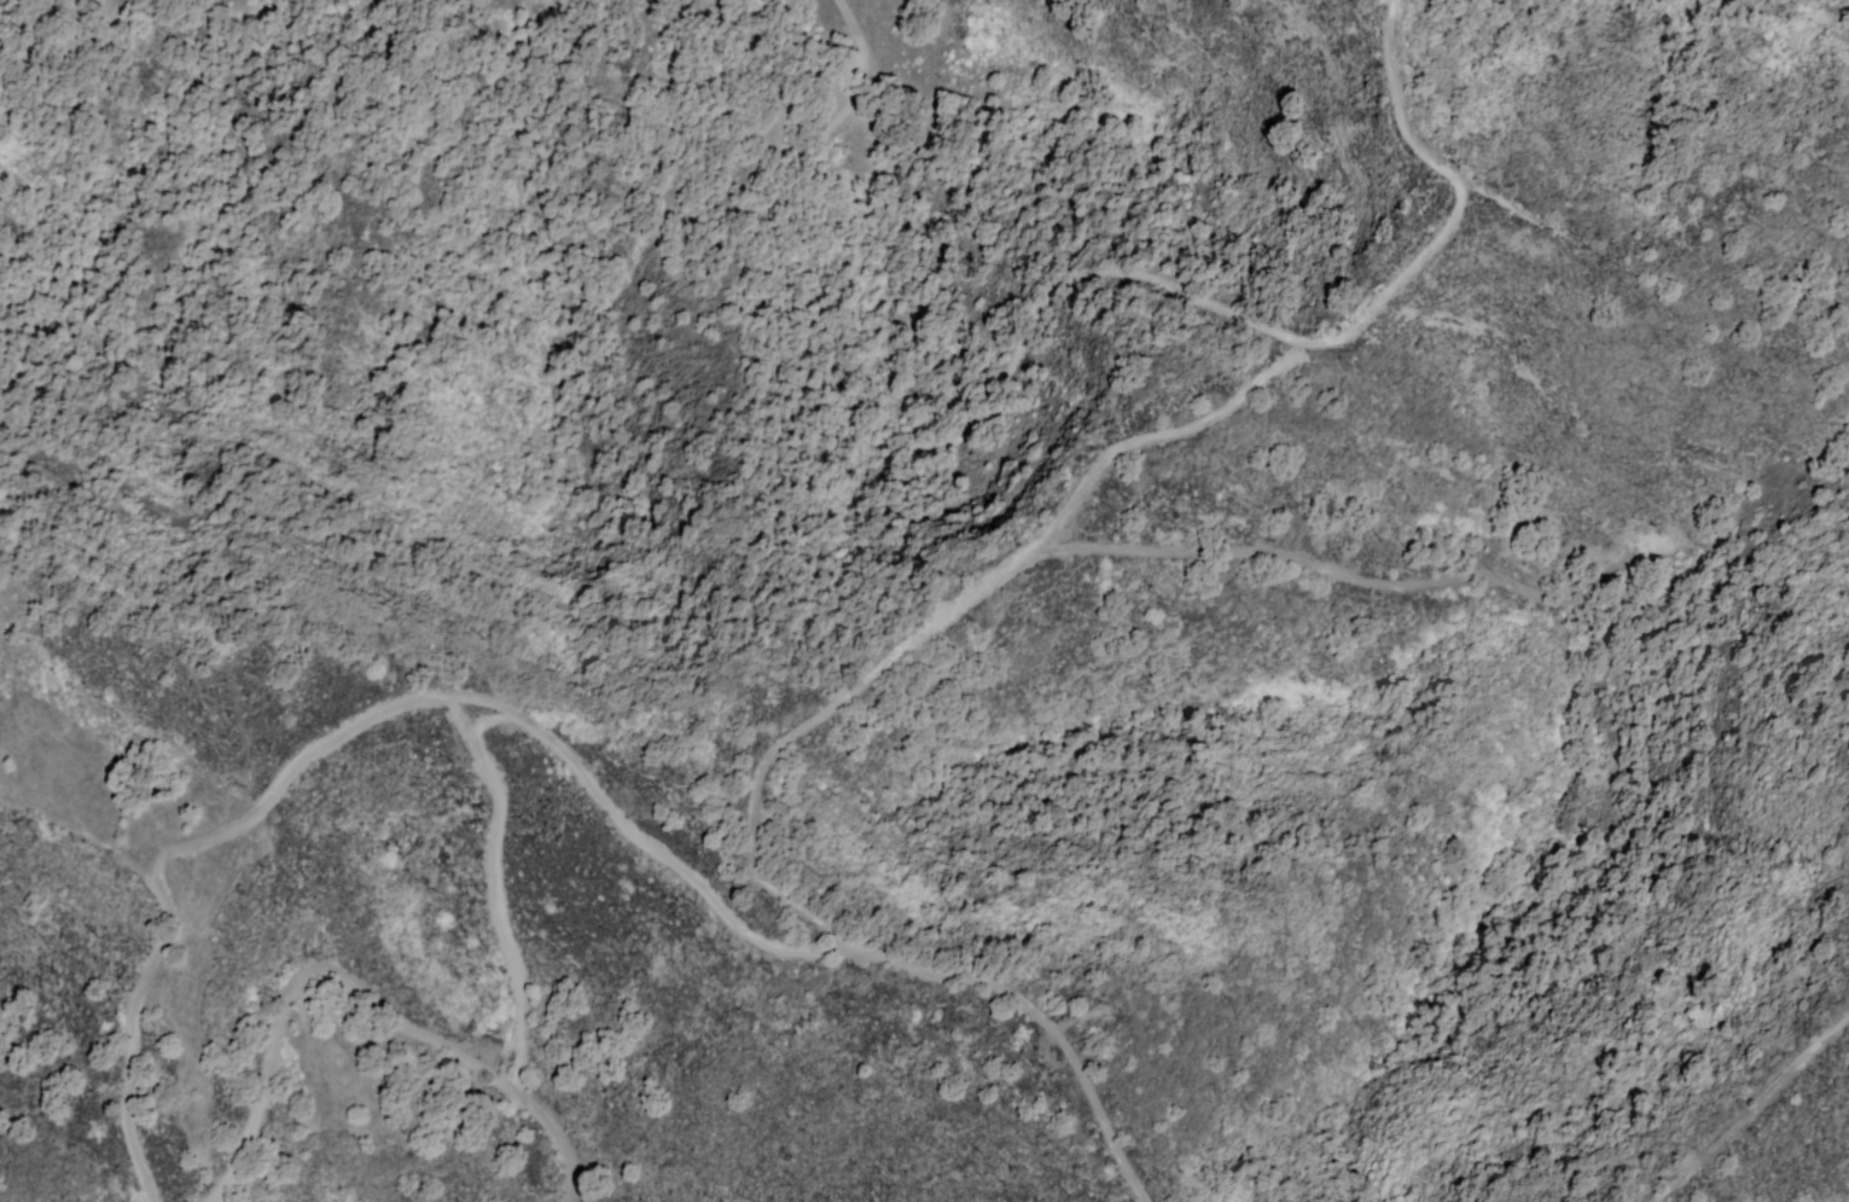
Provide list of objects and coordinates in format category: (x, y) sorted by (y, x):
road: (58, 824)
road: (365, 991)
road: (129, 1017)

